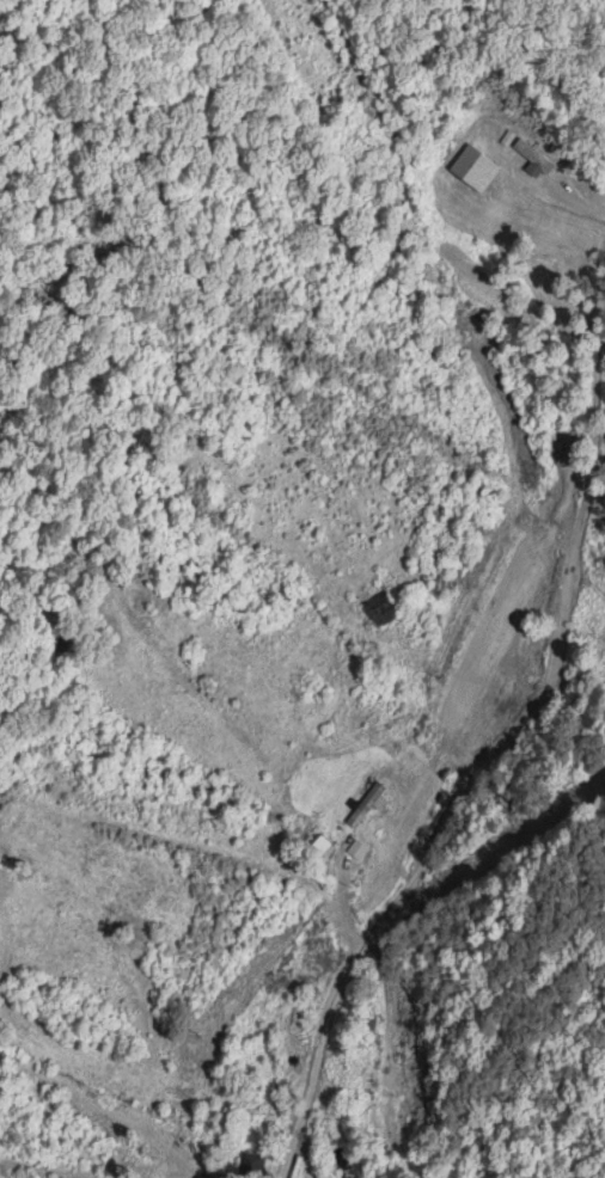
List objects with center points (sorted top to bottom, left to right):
road: (408, 877)

